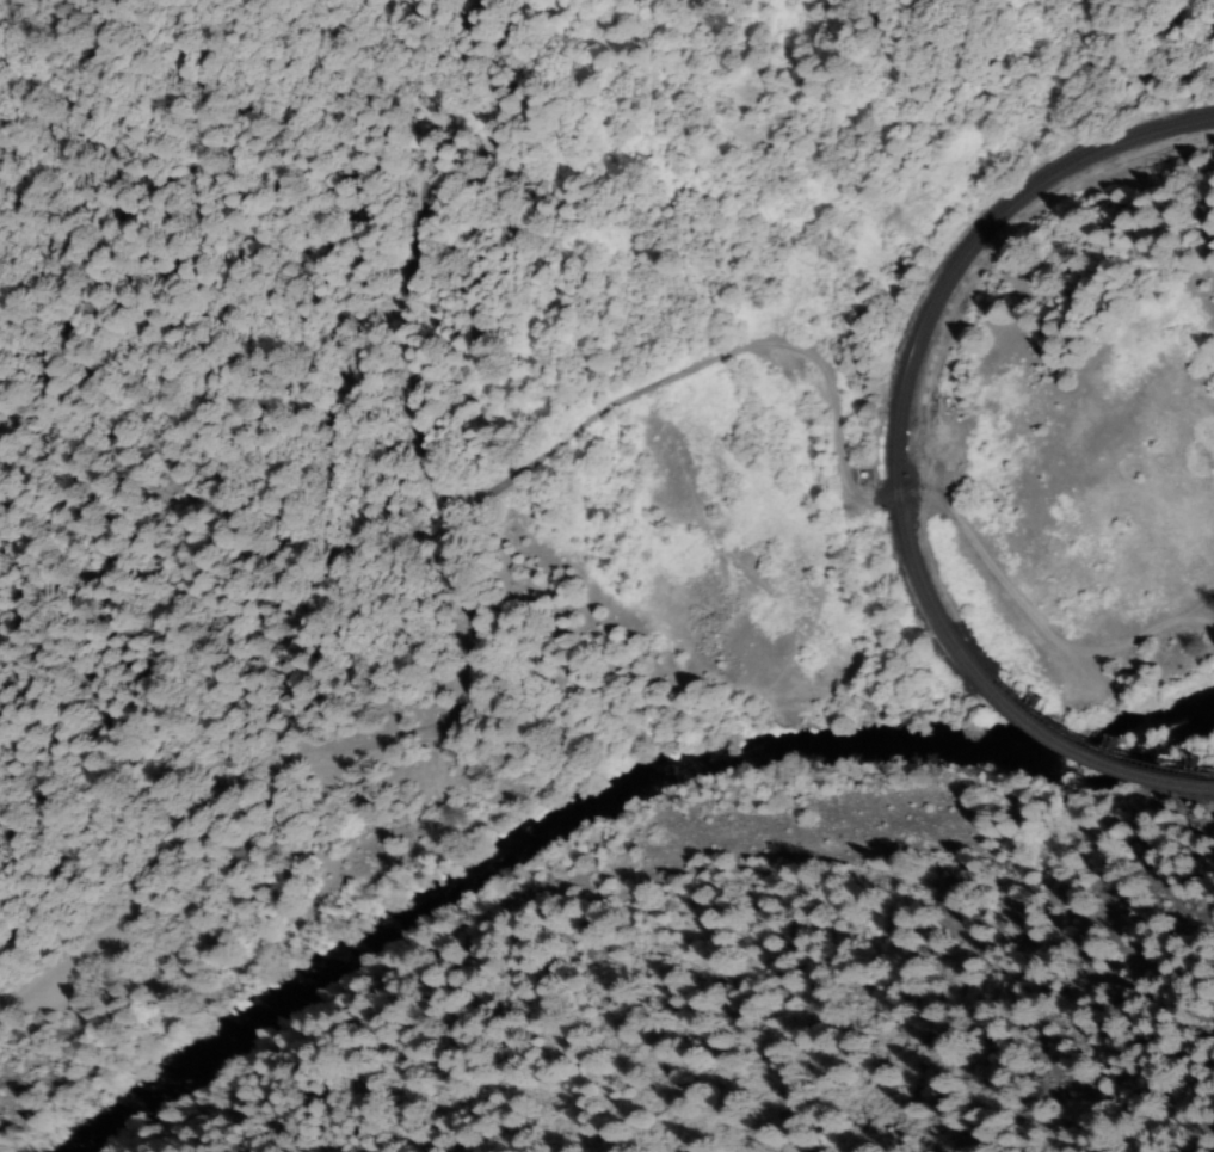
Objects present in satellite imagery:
road: (406, 272)
railway: (918, 331)
road: (700, 365)
road: (1035, 628)
road: (271, 756)
railway: (1087, 760)
river: (571, 811)
road: (507, 817)
parking lot: (74, 978)
road: (133, 1002)

